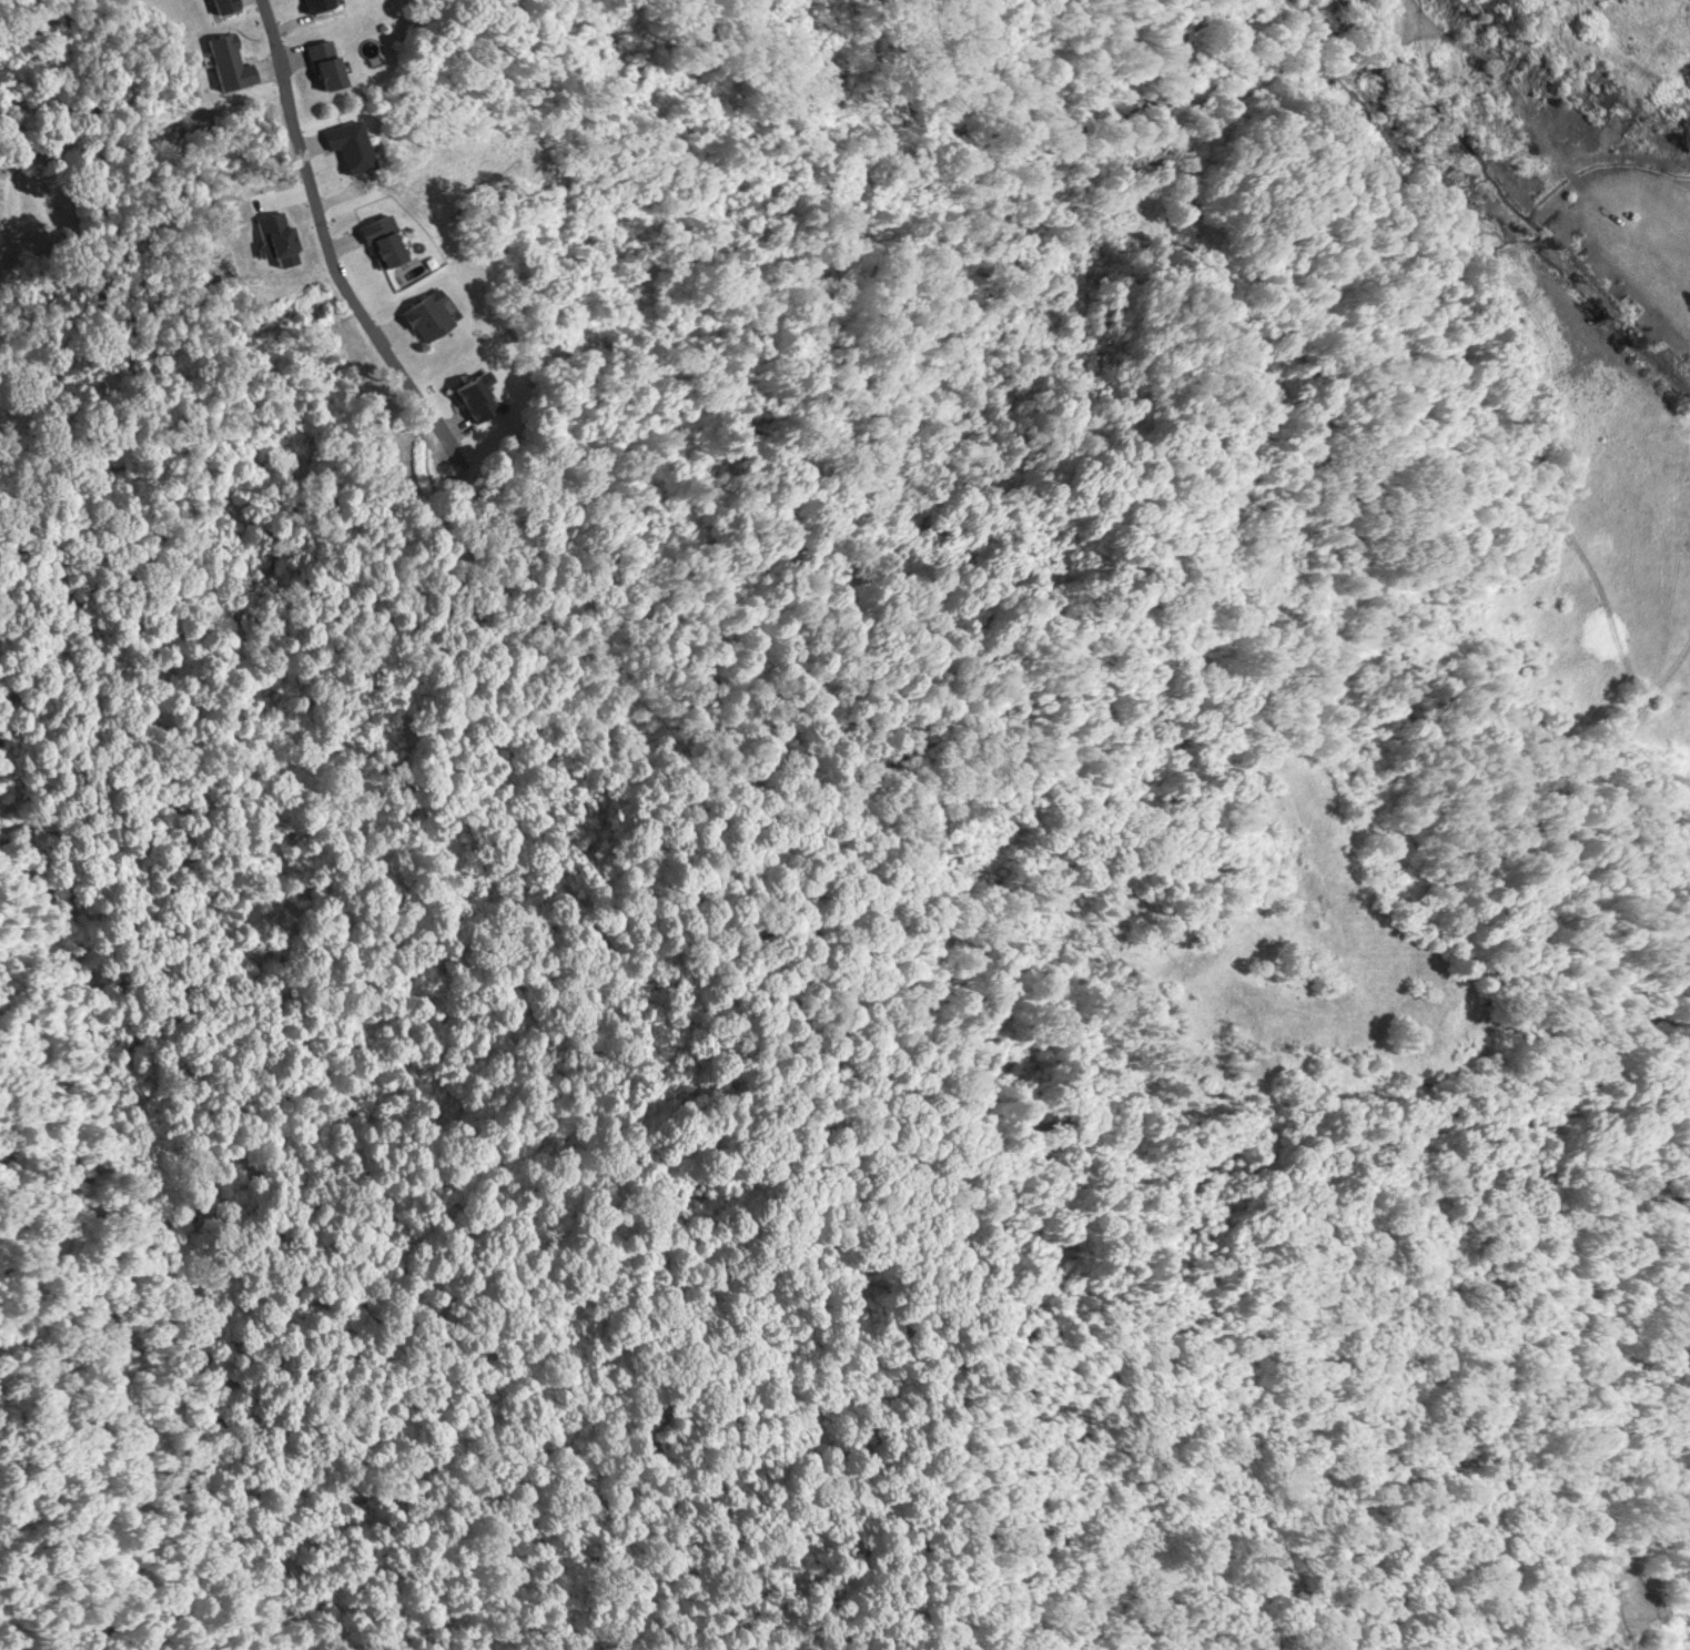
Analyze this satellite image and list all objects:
building: (318, 63)
building: (346, 144)
road: (322, 240)
building: (423, 314)
building: (475, 396)
building: (1689, 1649)

